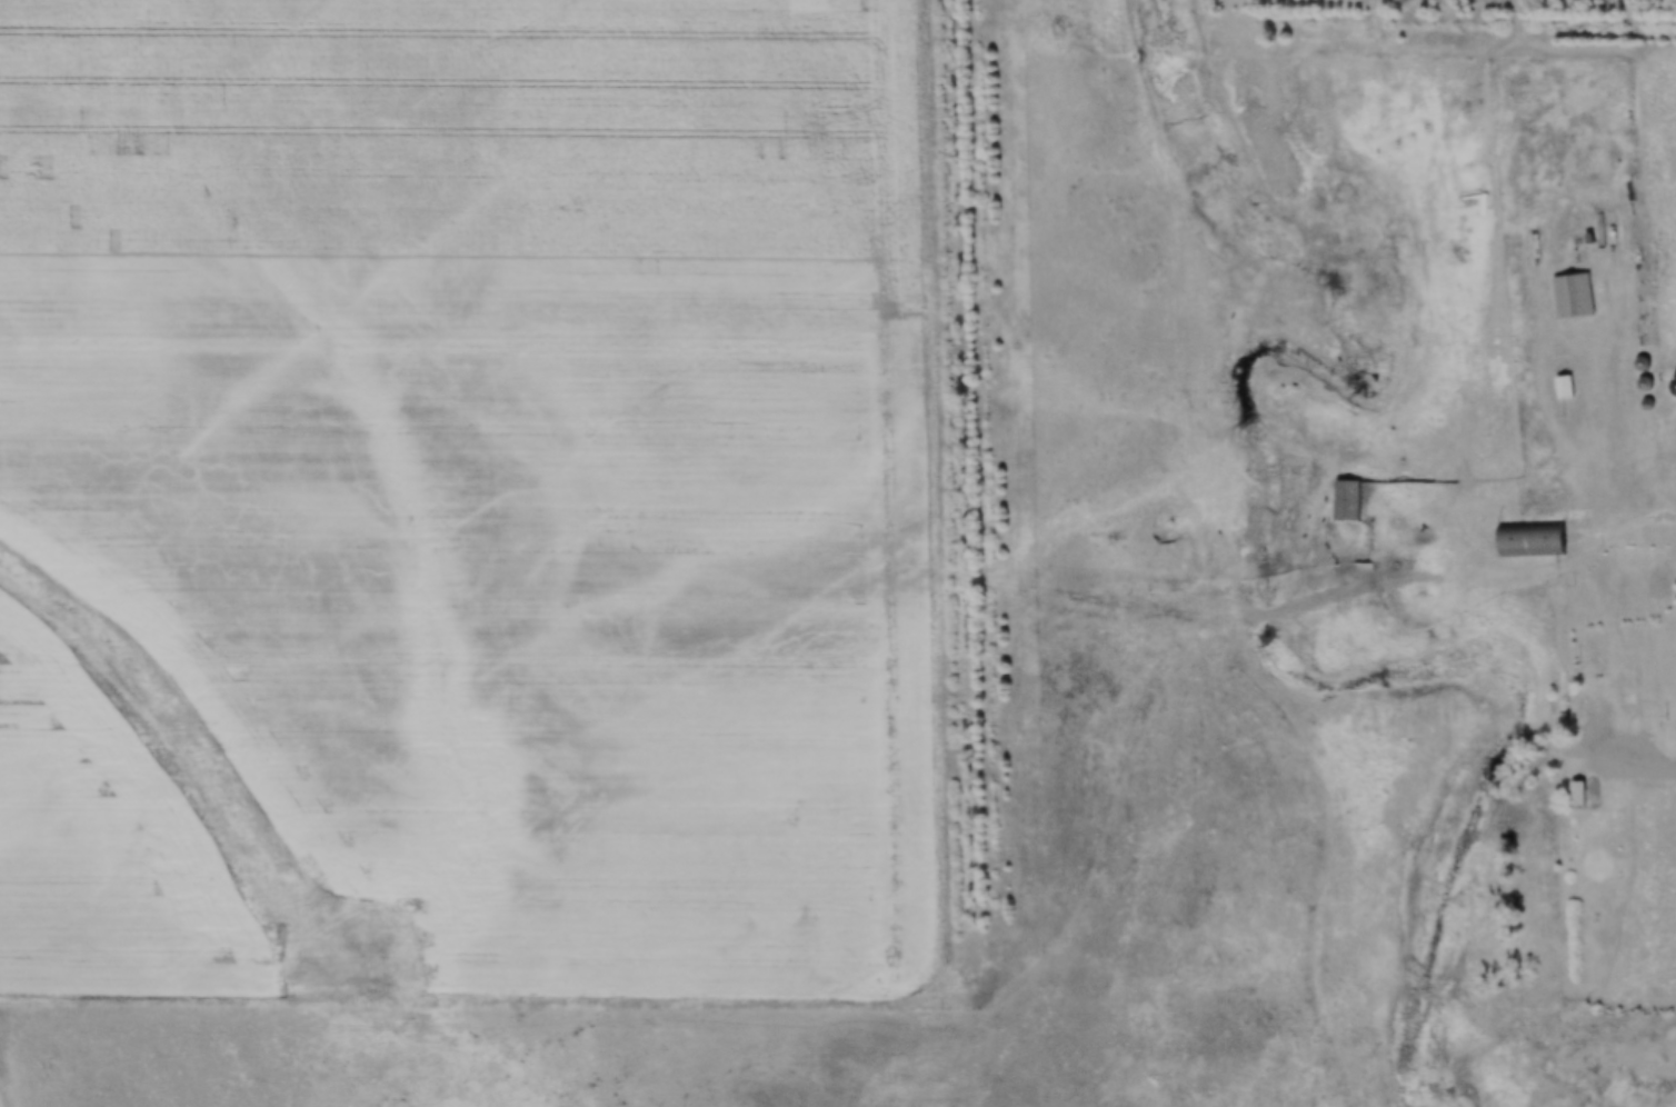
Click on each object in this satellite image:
building: (1573, 296)
building: (1564, 387)
road: (1602, 438)
building: (1347, 500)
building: (1532, 539)
road: (1350, 587)
building: (1588, 730)
building: (1578, 792)

